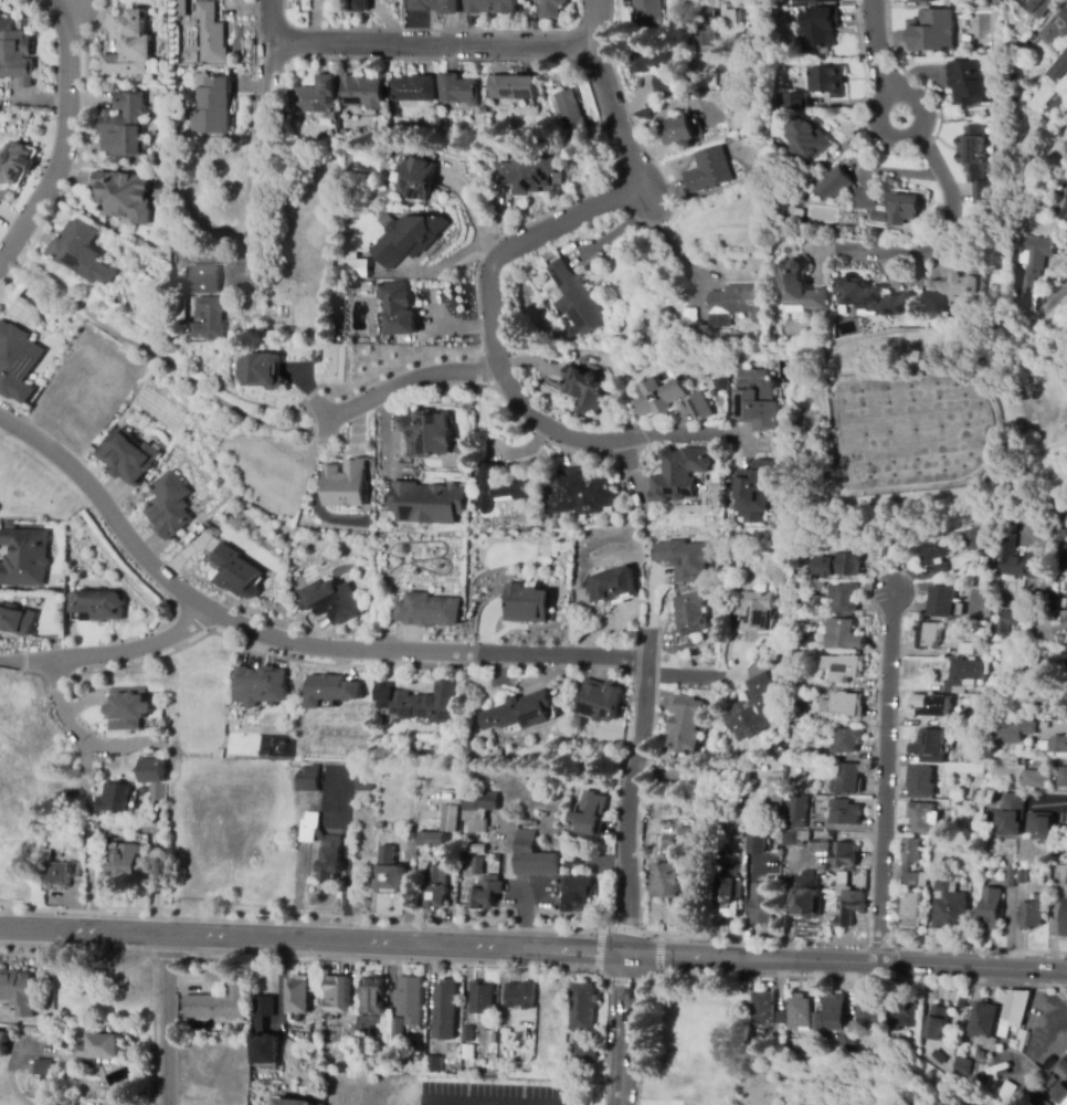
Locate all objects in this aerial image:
building: (931, 0)
building: (814, 1)
building: (919, 2)
building: (359, 4)
building: (552, 4)
building: (435, 6)
building: (490, 7)
building: (1038, 7)
building: (182, 9)
building: (647, 11)
building: (728, 17)
building: (704, 25)
building: (818, 29)
building: (1056, 29)
building: (932, 32)
building: (211, 34)
road: (433, 45)
road: (878, 45)
building: (129, 49)
building: (14, 51)
building: (1022, 53)
building: (653, 66)
building: (1059, 67)
building: (707, 81)
building: (827, 82)
building: (971, 84)
building: (513, 87)
building: (458, 91)
building: (412, 93)
building: (1064, 93)
building: (360, 94)
building: (316, 96)
building: (796, 103)
building: (212, 107)
building: (484, 110)
building: (571, 118)
road: (875, 124)
building: (124, 125)
building: (679, 131)
road: (61, 134)
building: (805, 143)
road: (258, 155)
building: (976, 164)
building: (14, 167)
building: (709, 170)
building: (528, 173)
building: (416, 179)
building: (833, 185)
building: (123, 196)
building: (889, 207)
building: (1064, 211)
building: (796, 218)
building: (844, 229)
road: (947, 236)
building: (406, 238)
road: (665, 241)
road: (497, 253)
building: (82, 255)
building: (1032, 267)
building: (353, 269)
building: (203, 277)
building: (358, 285)
building: (800, 286)
building: (959, 291)
building: (539, 298)
building: (874, 298)
building: (573, 302)
building: (737, 305)
building: (180, 307)
building: (398, 309)
building: (209, 320)
building: (15, 360)
building: (260, 368)
road: (411, 386)
building: (584, 389)
building: (659, 397)
building: (758, 401)
building: (700, 408)
park: (1052, 411)
building: (425, 436)
building: (127, 453)
building: (679, 474)
building: (344, 483)
building: (501, 490)
building: (756, 491)
building: (578, 494)
building: (426, 502)
building: (169, 507)
building: (878, 523)
building: (972, 540)
building: (886, 550)
building: (1064, 552)
building: (934, 555)
building: (23, 558)
building: (685, 560)
building: (1017, 560)
building: (985, 564)
building: (838, 566)
building: (236, 573)
building: (981, 577)
building: (617, 581)
building: (816, 586)
building: (844, 599)
building: (331, 600)
building: (942, 602)
building: (811, 603)
building: (1064, 603)
building: (98, 604)
building: (528, 604)
building: (426, 611)
building: (754, 611)
building: (960, 611)
building: (1035, 614)
building: (689, 620)
building: (1006, 620)
building: (17, 621)
building: (979, 631)
building: (800, 635)
building: (843, 635)
building: (928, 635)
road: (283, 638)
building: (985, 638)
building: (1057, 639)
road: (133, 649)
building: (965, 649)
building: (1040, 651)
road: (29, 661)
building: (1058, 665)
building: (844, 666)
building: (964, 675)
road: (710, 677)
building: (261, 688)
building: (329, 690)
building: (601, 701)
building: (795, 701)
building: (420, 704)
building: (847, 704)
road: (65, 706)
building: (126, 706)
building: (931, 706)
building: (753, 709)
building: (1059, 711)
building: (520, 713)
building: (685, 724)
building: (1013, 733)
building: (846, 740)
building: (1059, 745)
building: (930, 747)
building: (746, 771)
building: (97, 772)
building: (155, 778)
building: (365, 778)
building: (1063, 778)
building: (308, 779)
building: (847, 779)
building: (1034, 779)
road: (884, 781)
building: (920, 781)
building: (775, 789)
road: (631, 792)
building: (114, 796)
road: (1052, 800)
building: (478, 810)
building: (799, 812)
building: (845, 812)
building: (590, 814)
building: (668, 814)
building: (1013, 814)
building: (923, 818)
building: (448, 821)
building: (1040, 825)
building: (736, 827)
building: (685, 832)
building: (790, 838)
building: (469, 839)
building: (479, 840)
building: (431, 842)
building: (667, 843)
building: (932, 843)
building: (331, 845)
building: (759, 846)
building: (78, 850)
building: (478, 850)
building: (910, 851)
building: (45, 855)
building: (844, 855)
building: (533, 857)
building: (573, 859)
building: (122, 864)
building: (477, 866)
building: (1023, 870)
building: (59, 875)
building: (390, 876)
building: (1010, 876)
building: (667, 878)
building: (915, 880)
building: (435, 887)
building: (487, 893)
building: (577, 894)
building: (806, 896)
building: (729, 898)
building: (847, 899)
building: (762, 904)
building: (949, 906)
building: (991, 908)
building: (910, 911)
road: (305, 915)
building: (1031, 915)
building: (1065, 919)
road: (627, 930)
road: (652, 935)
road: (313, 941)
road: (598, 951)
traffic signals: (625, 955)
road: (658, 956)
road: (168, 957)
road: (751, 960)
road: (459, 964)
road: (76, 966)
road: (972, 969)
road: (1066, 972)
road: (789, 976)
road: (626, 981)
road: (1063, 988)
building: (292, 989)
building: (366, 989)
building: (476, 989)
building: (15, 992)
building: (406, 992)
building: (520, 996)
building: (332, 998)
building: (211, 999)
building: (440, 1003)
building: (961, 1003)
building: (582, 1006)
building: (762, 1009)
building: (865, 1011)
building: (797, 1013)
building: (833, 1013)
building: (904, 1015)
building: (779, 1018)
building: (1001, 1018)
road: (167, 1020)
building: (183, 1022)
building: (937, 1022)
building: (814, 1023)
building: (365, 1028)
building: (395, 1028)
road: (622, 1030)
building: (264, 1033)
building: (467, 1034)
building: (503, 1036)
building: (3, 1044)
building: (842, 1046)
building: (99, 1051)
building: (583, 1055)
building: (936, 1056)
building: (41, 1065)
building: (433, 1065)
building: (960, 1066)
building: (1061, 1071)
road: (12, 1083)
building: (1049, 1083)
building: (1004, 1090)
building: (1040, 1091)
building: (1058, 1094)
building: (1033, 1098)
building: (292, 1102)
building: (1042, 1103)

